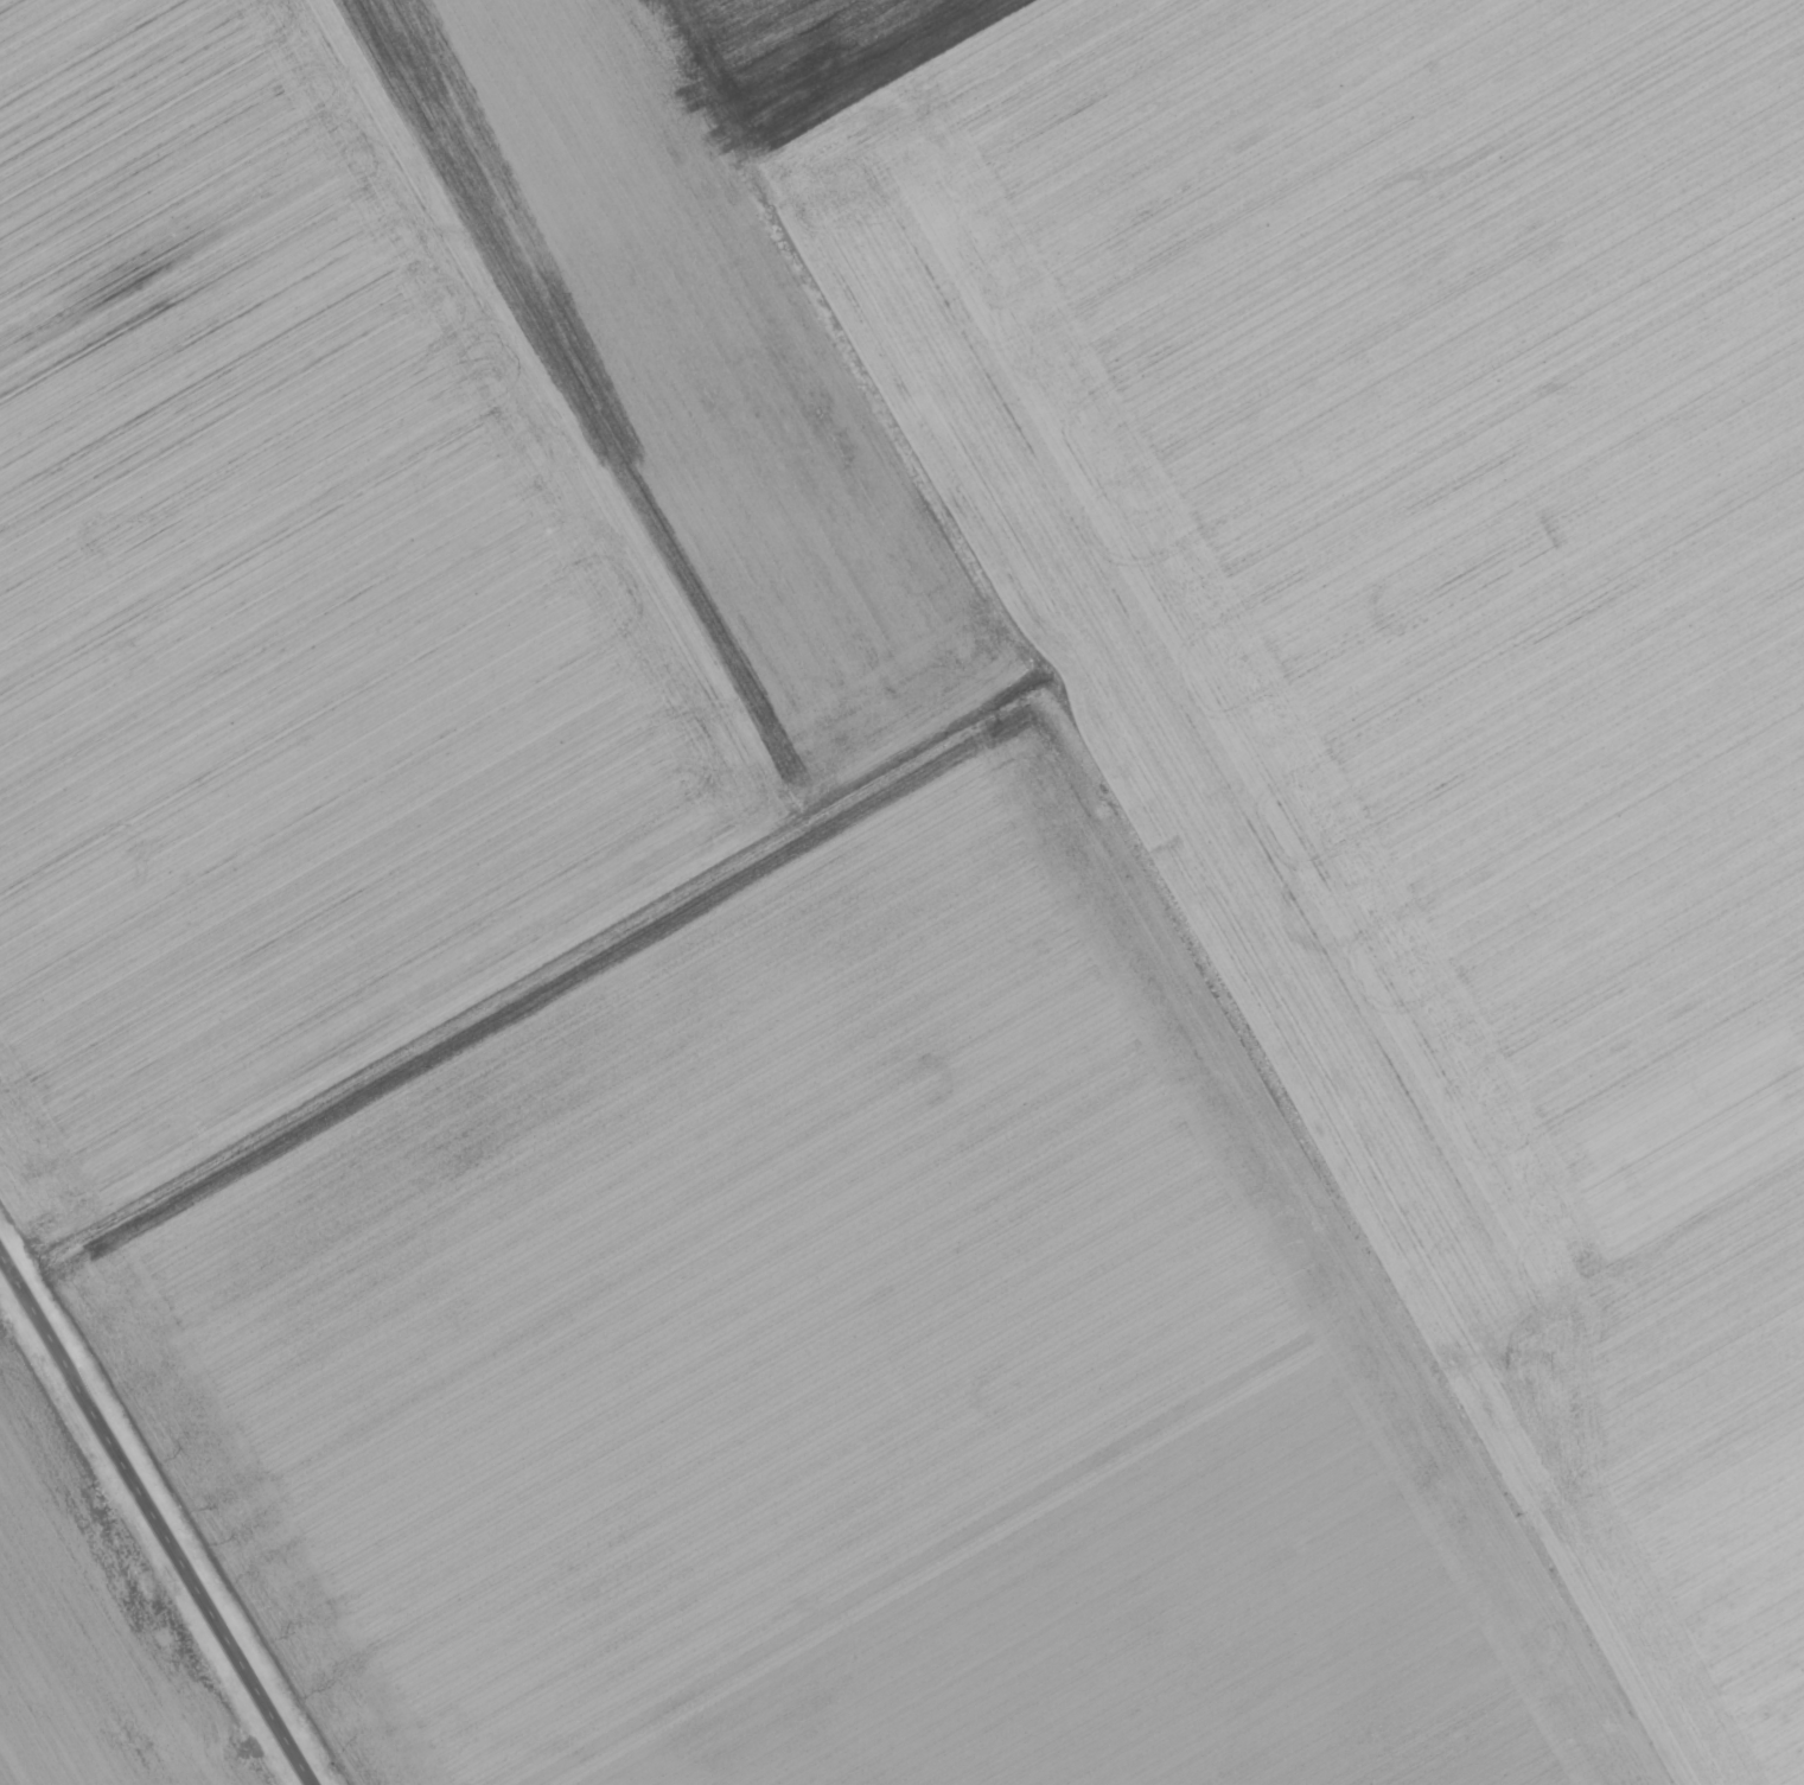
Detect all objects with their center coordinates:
road: (1173, 888)
road: (523, 956)
road: (157, 1518)

